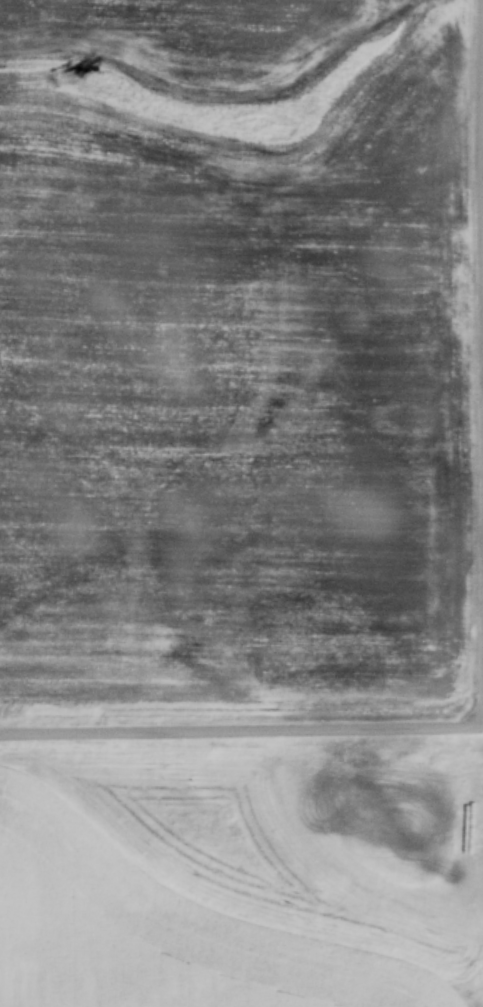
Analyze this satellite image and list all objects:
road: (478, 256)
road: (482, 674)
road: (241, 728)

